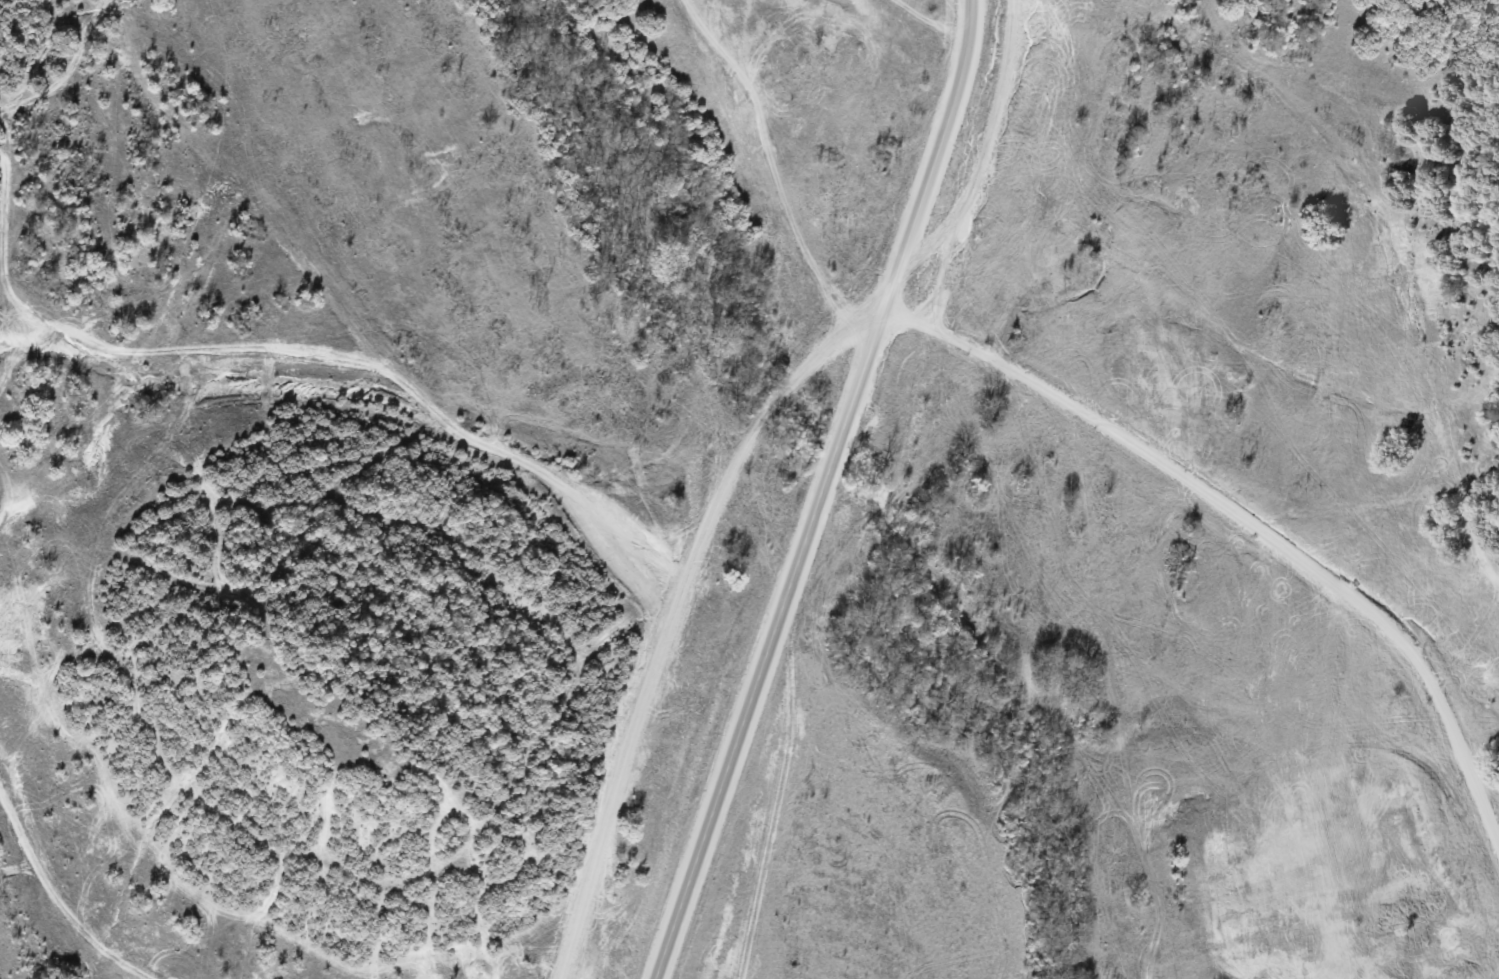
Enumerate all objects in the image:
road: (981, 163)
road: (820, 491)
road: (1264, 538)
road: (686, 598)

